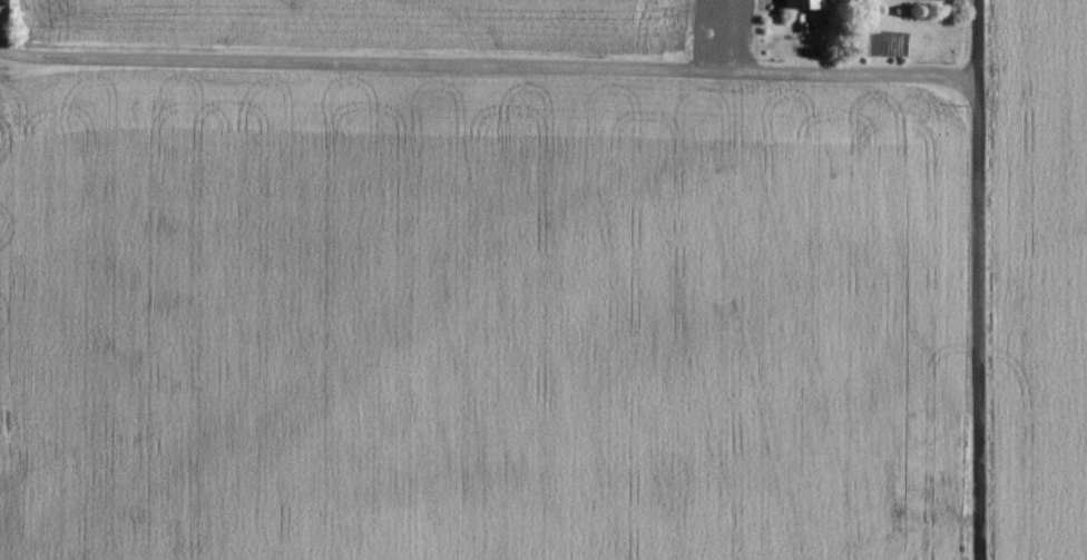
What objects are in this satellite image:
building: (804, 3)
road: (726, 40)
road: (487, 69)
road: (978, 279)

